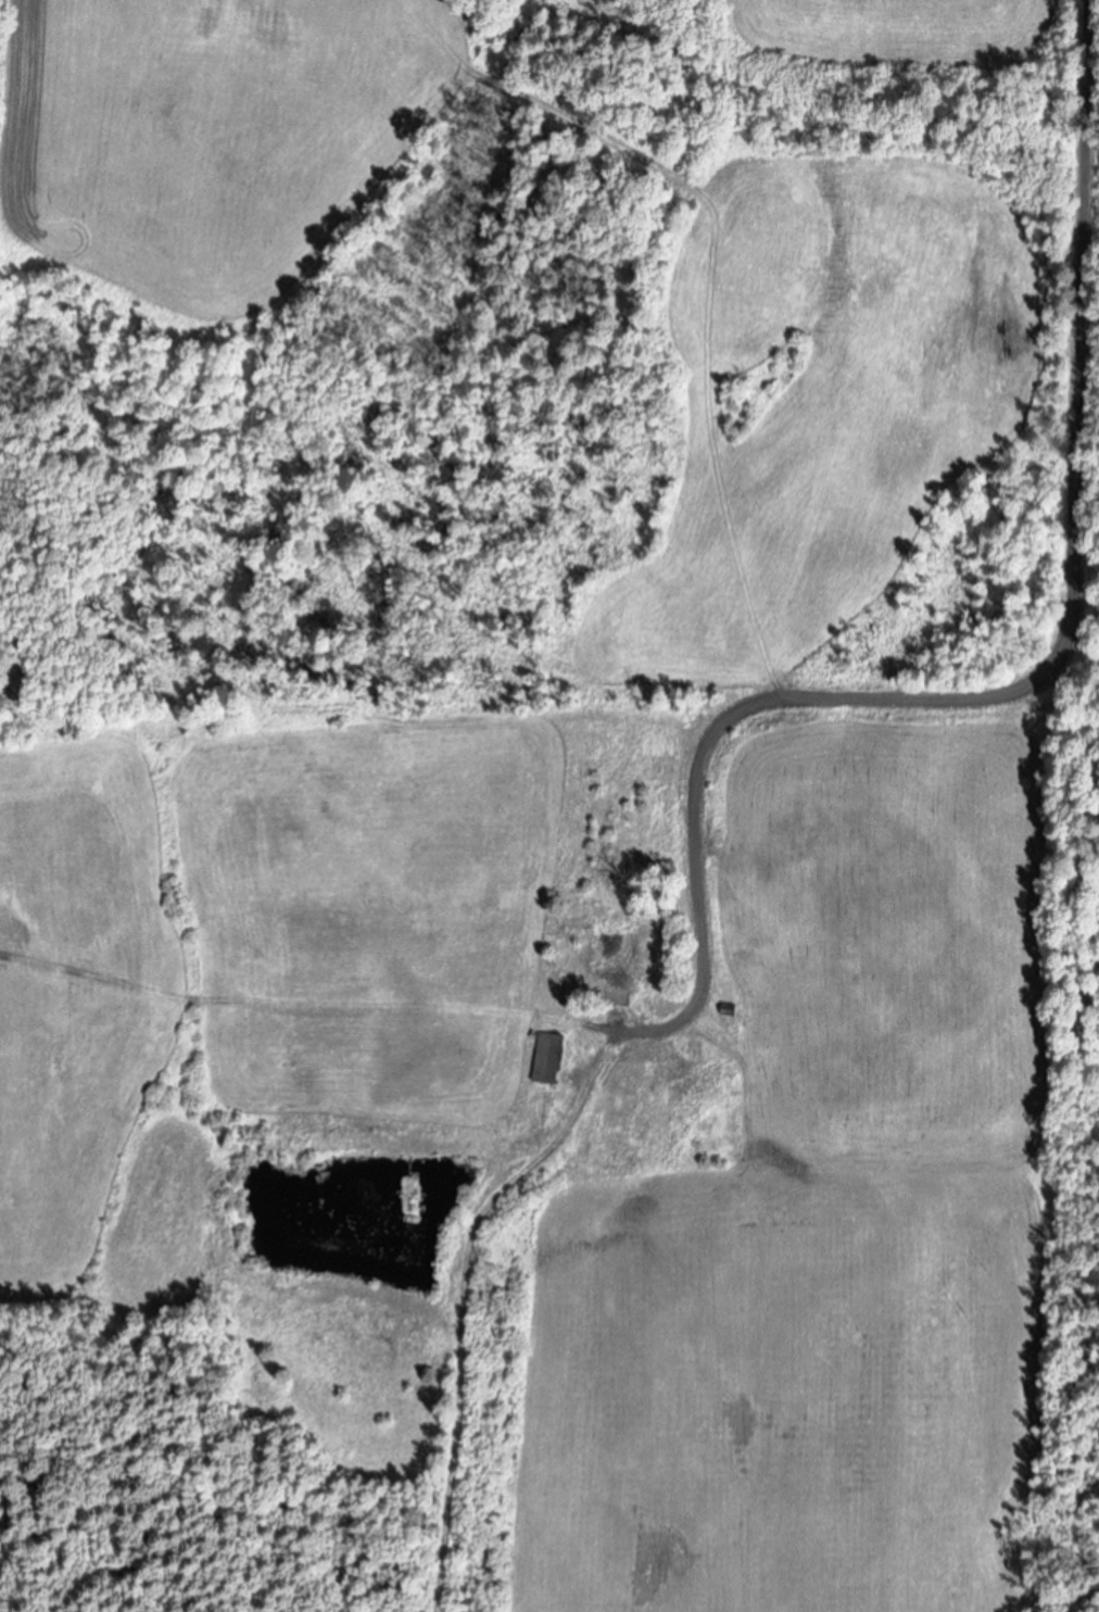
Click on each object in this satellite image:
road: (1052, 659)
building: (554, 1060)
building: (632, 1078)

